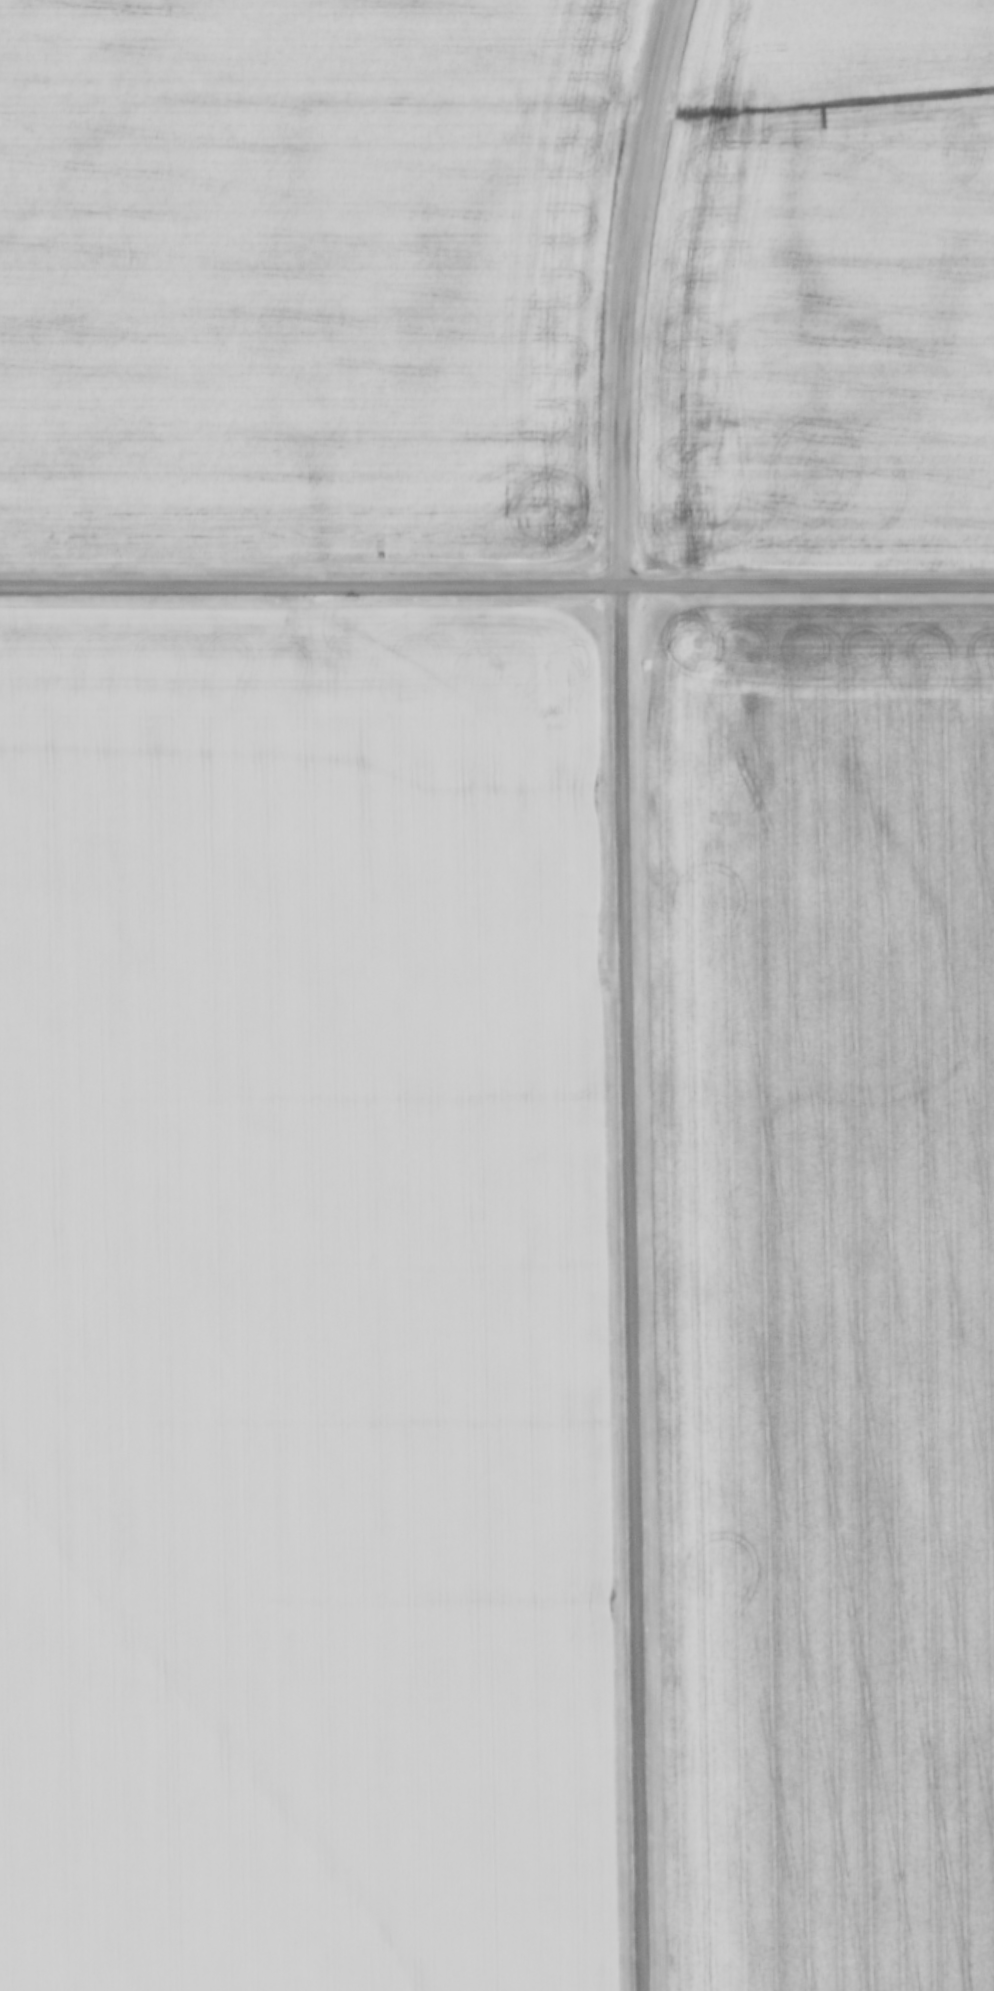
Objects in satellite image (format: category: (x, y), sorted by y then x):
road: (629, 293)
road: (497, 591)
road: (632, 1291)

